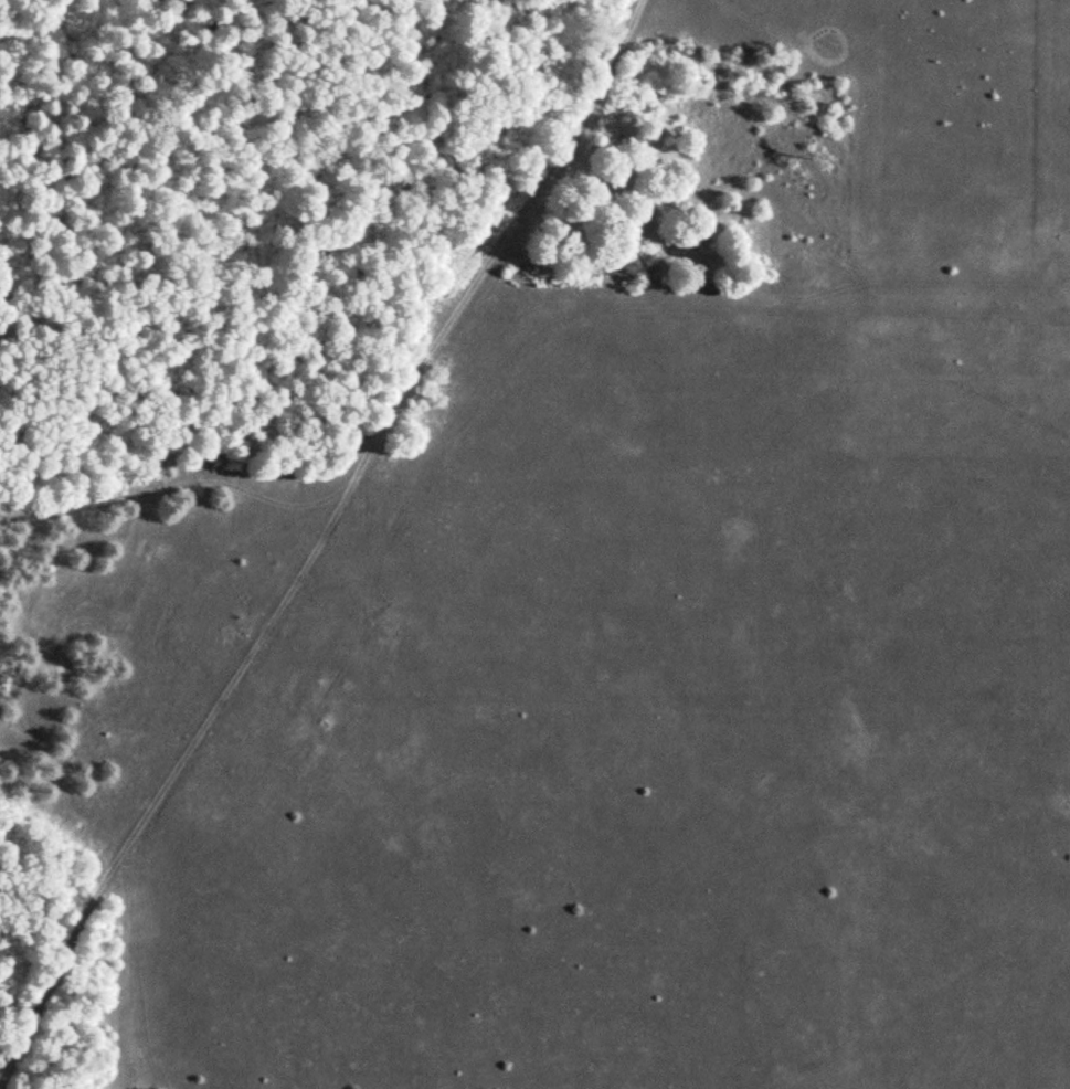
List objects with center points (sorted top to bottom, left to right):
road: (314, 539)

